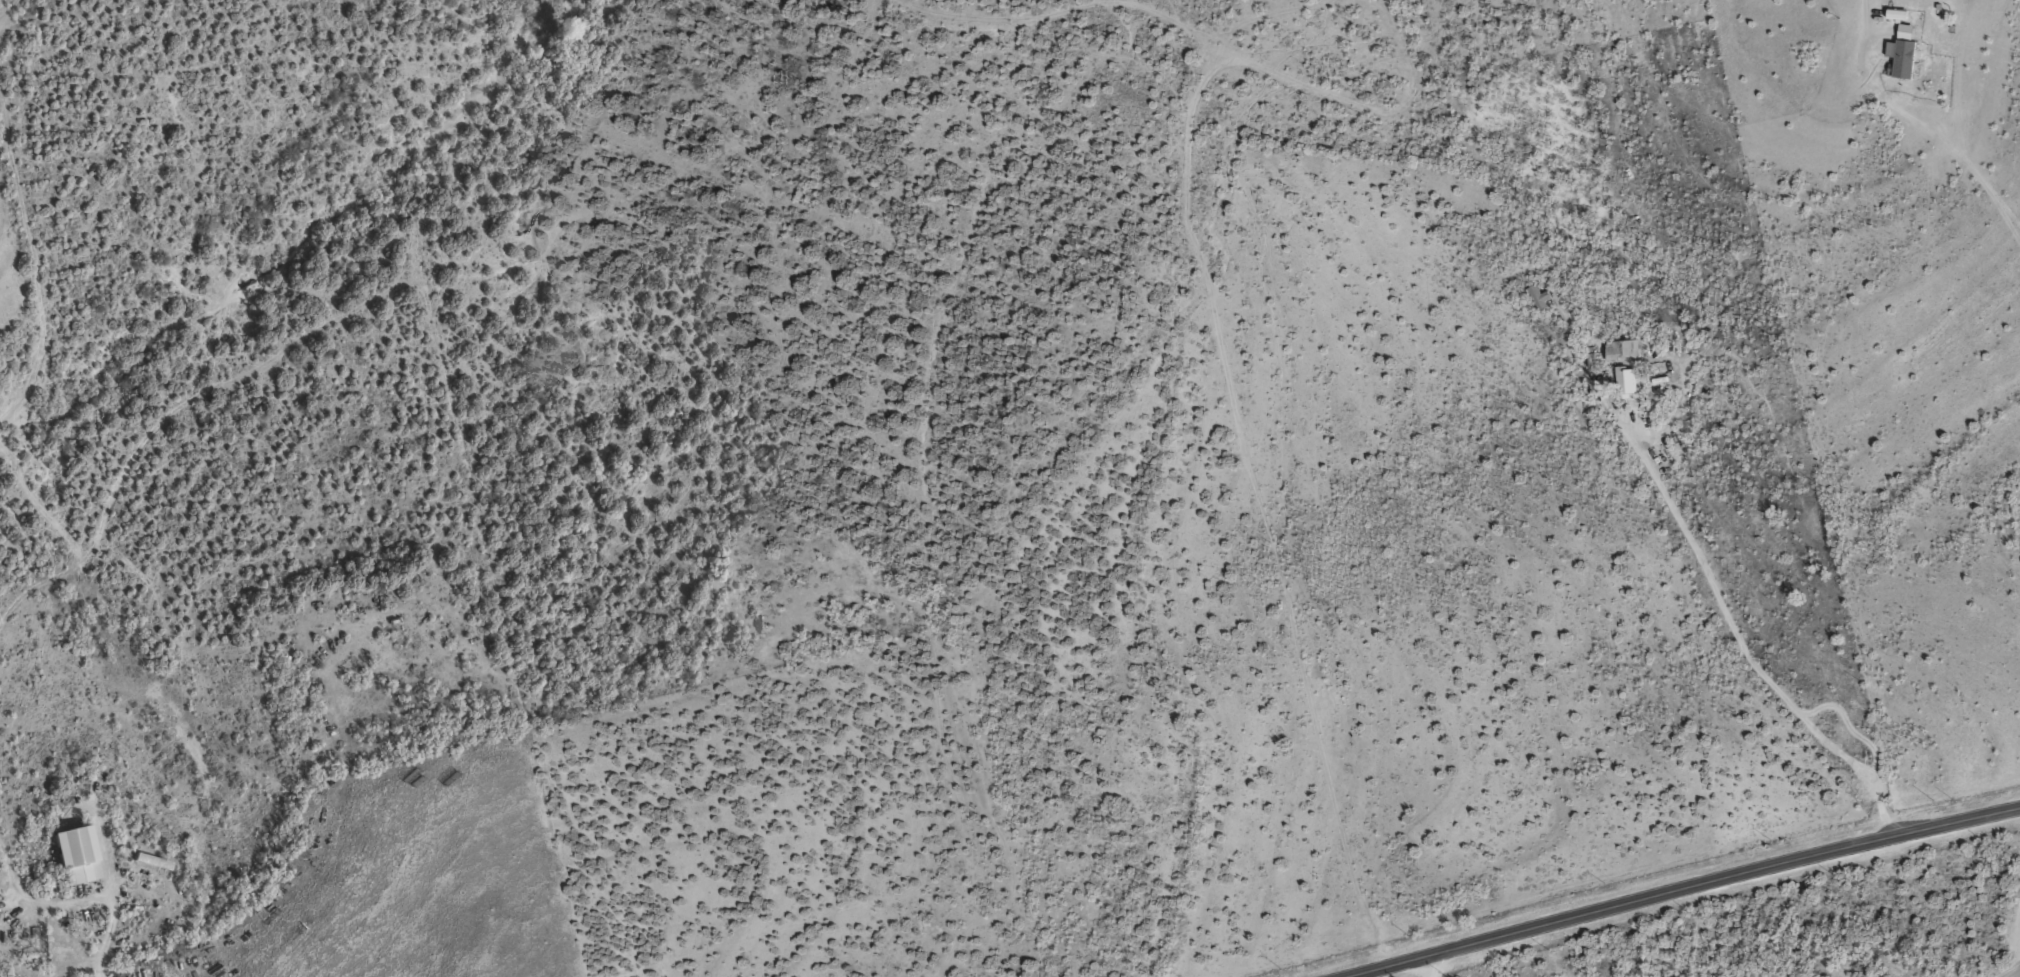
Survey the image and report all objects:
building: (1896, 13)
building: (1905, 30)
building: (1901, 57)
building: (1539, 297)
building: (1621, 349)
building: (1625, 381)
road: (1713, 632)
building: (73, 855)
road: (1720, 879)
road: (111, 926)
road: (1384, 967)
road: (1432, 967)

